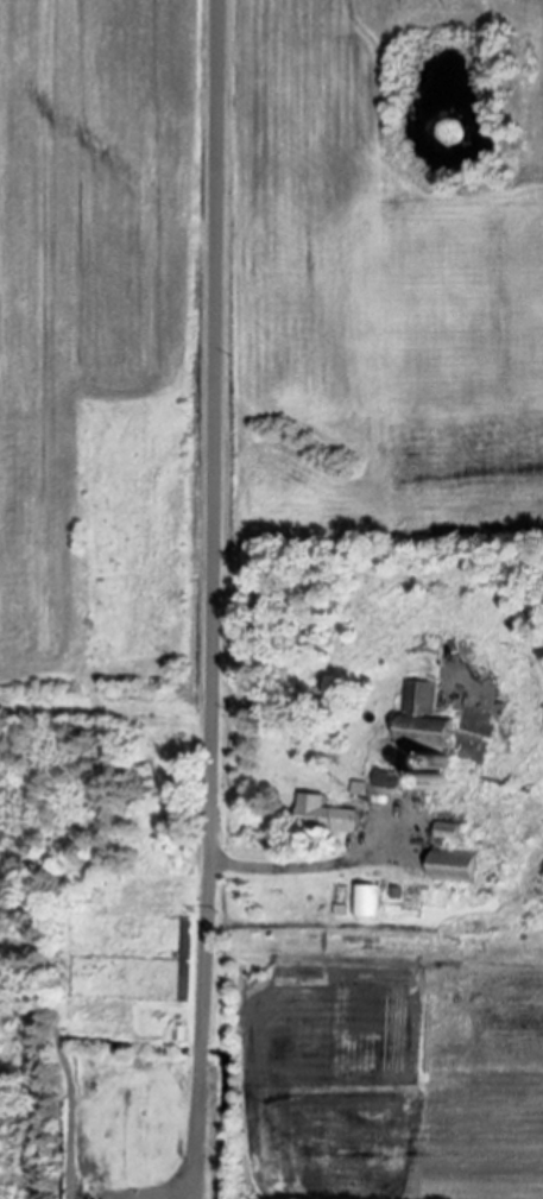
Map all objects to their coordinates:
road: (208, 599)
building: (425, 740)
building: (329, 814)
building: (459, 866)
building: (366, 900)

